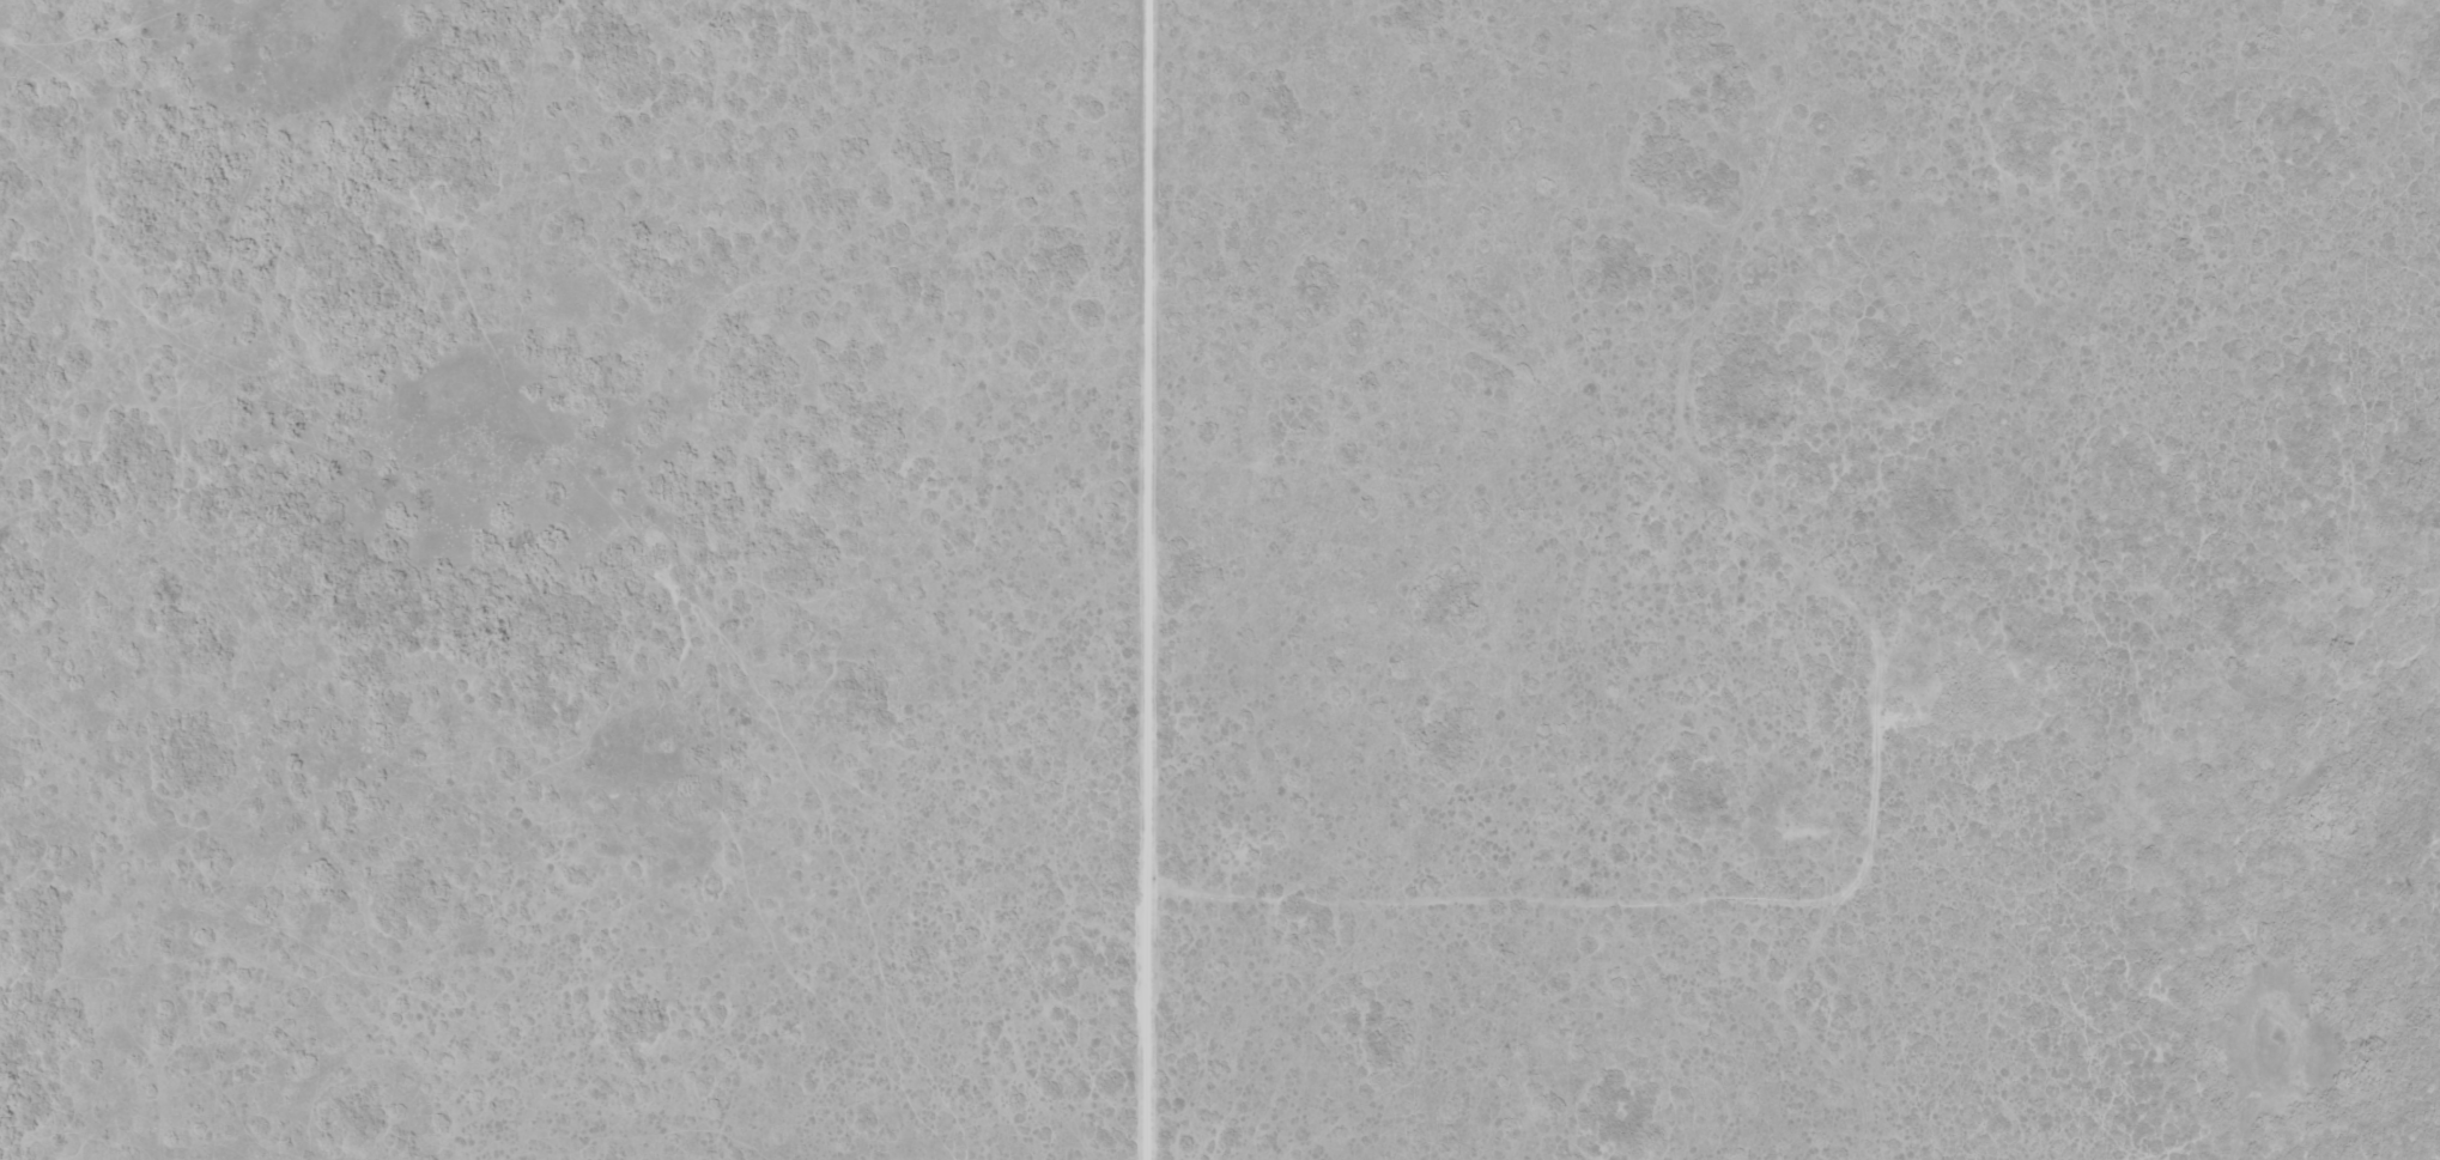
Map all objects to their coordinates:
road: (1160, 579)

